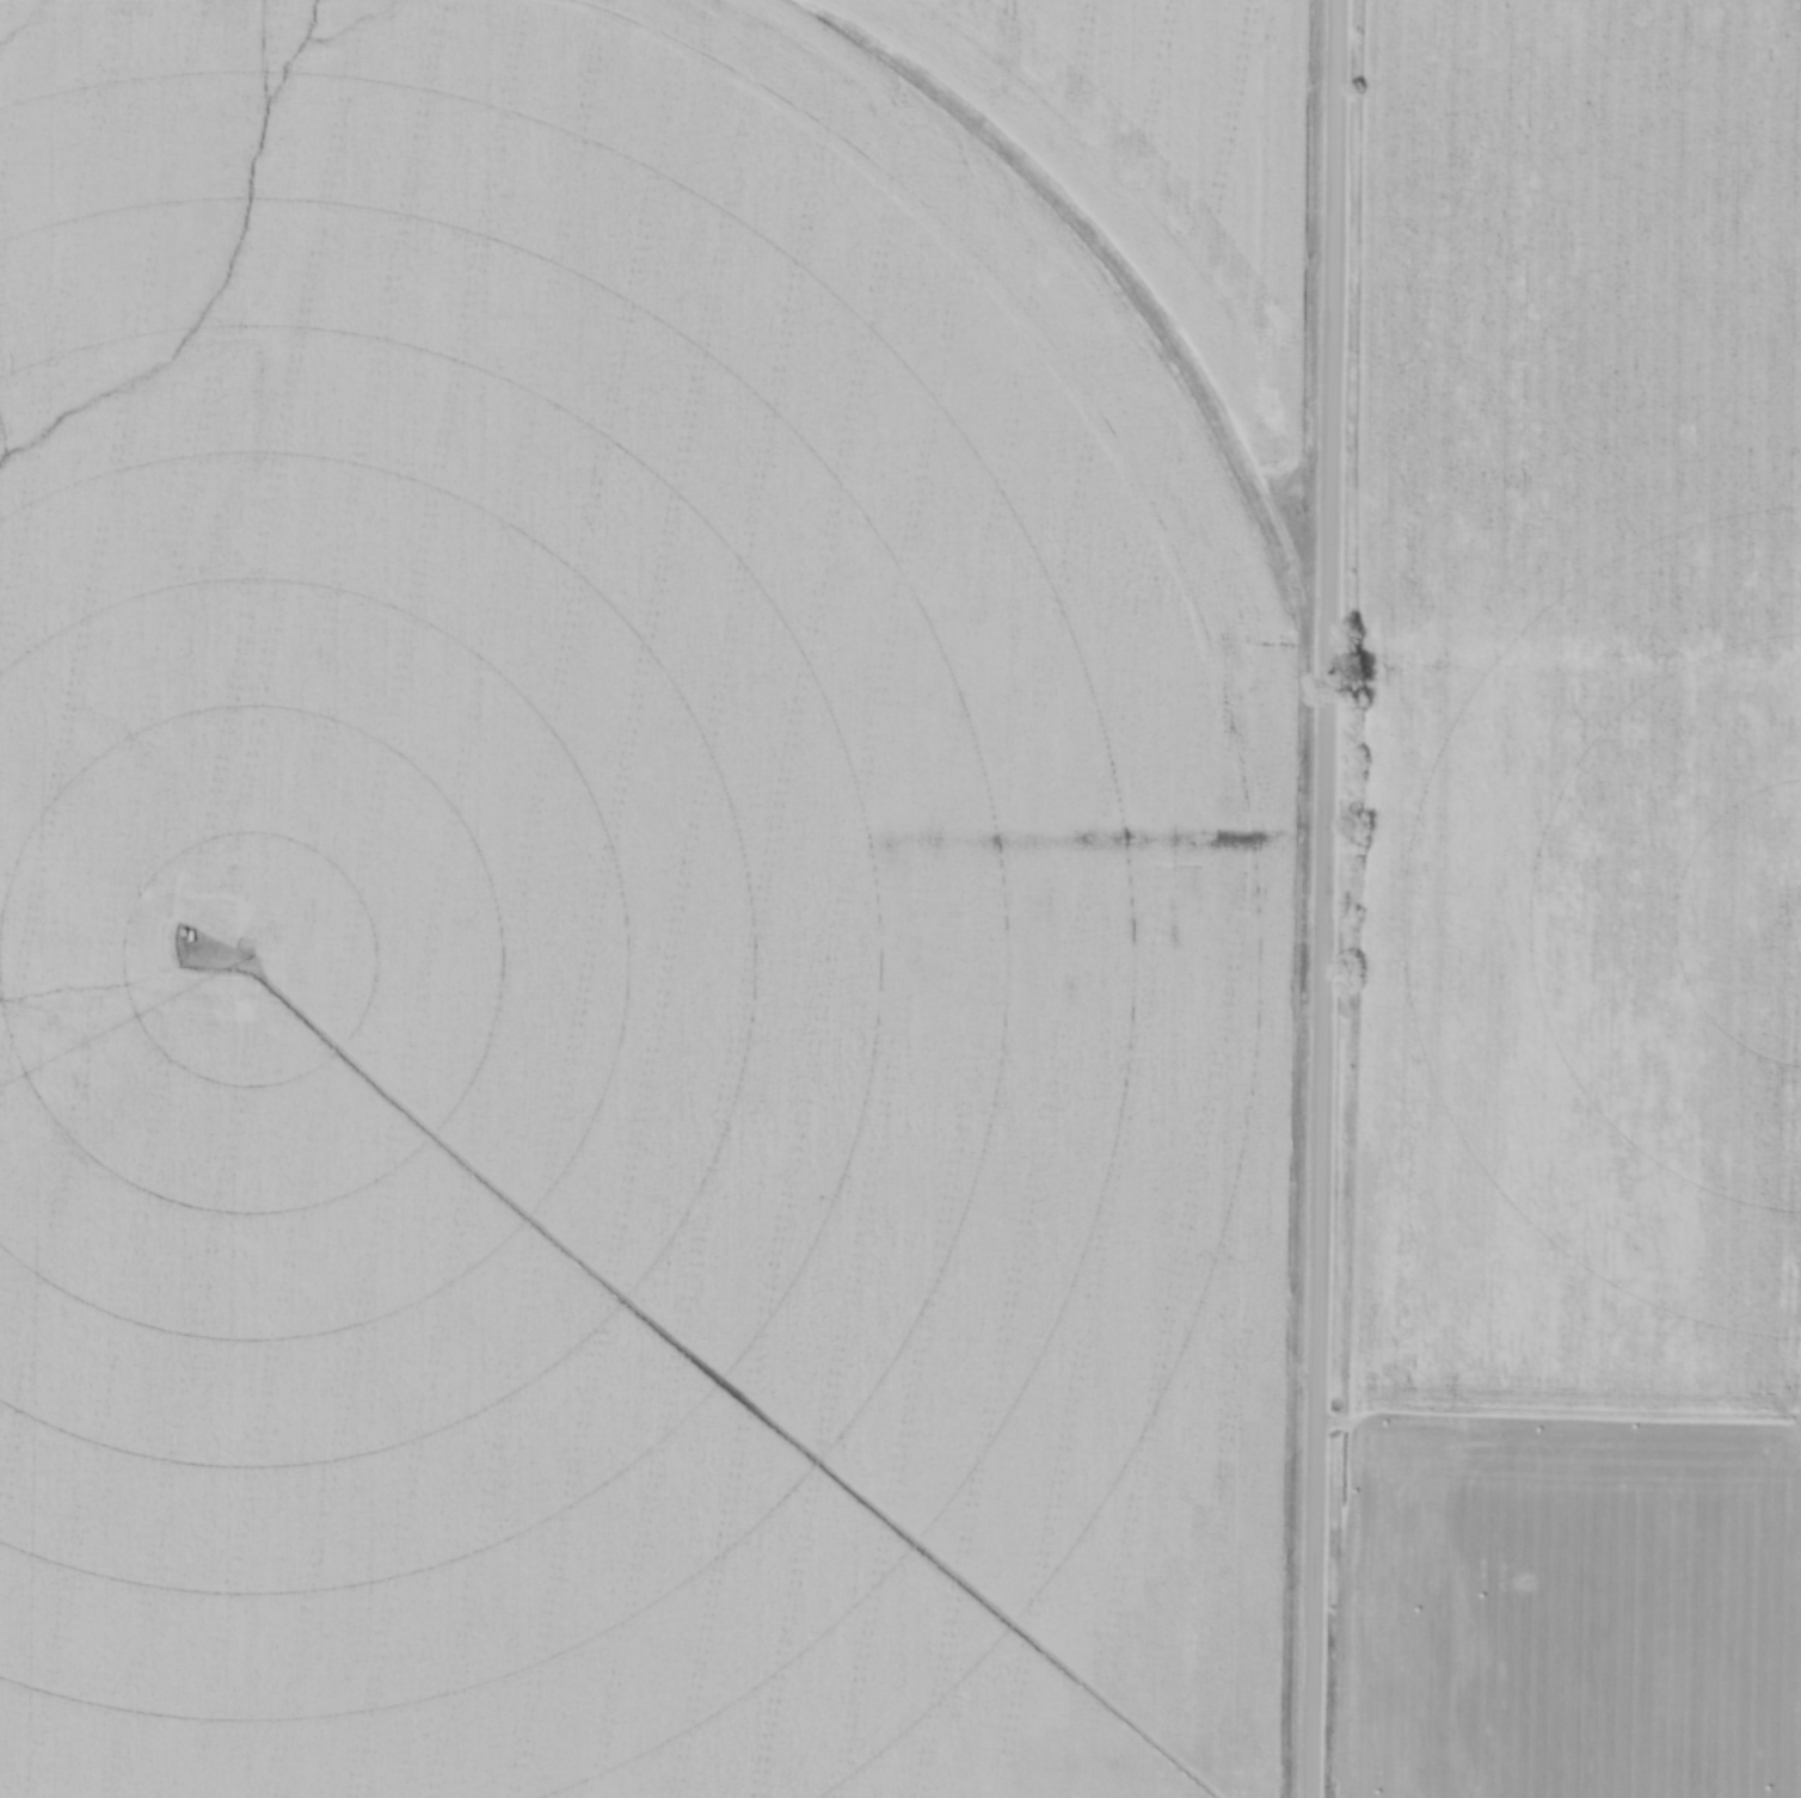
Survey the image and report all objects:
road: (1320, 898)

